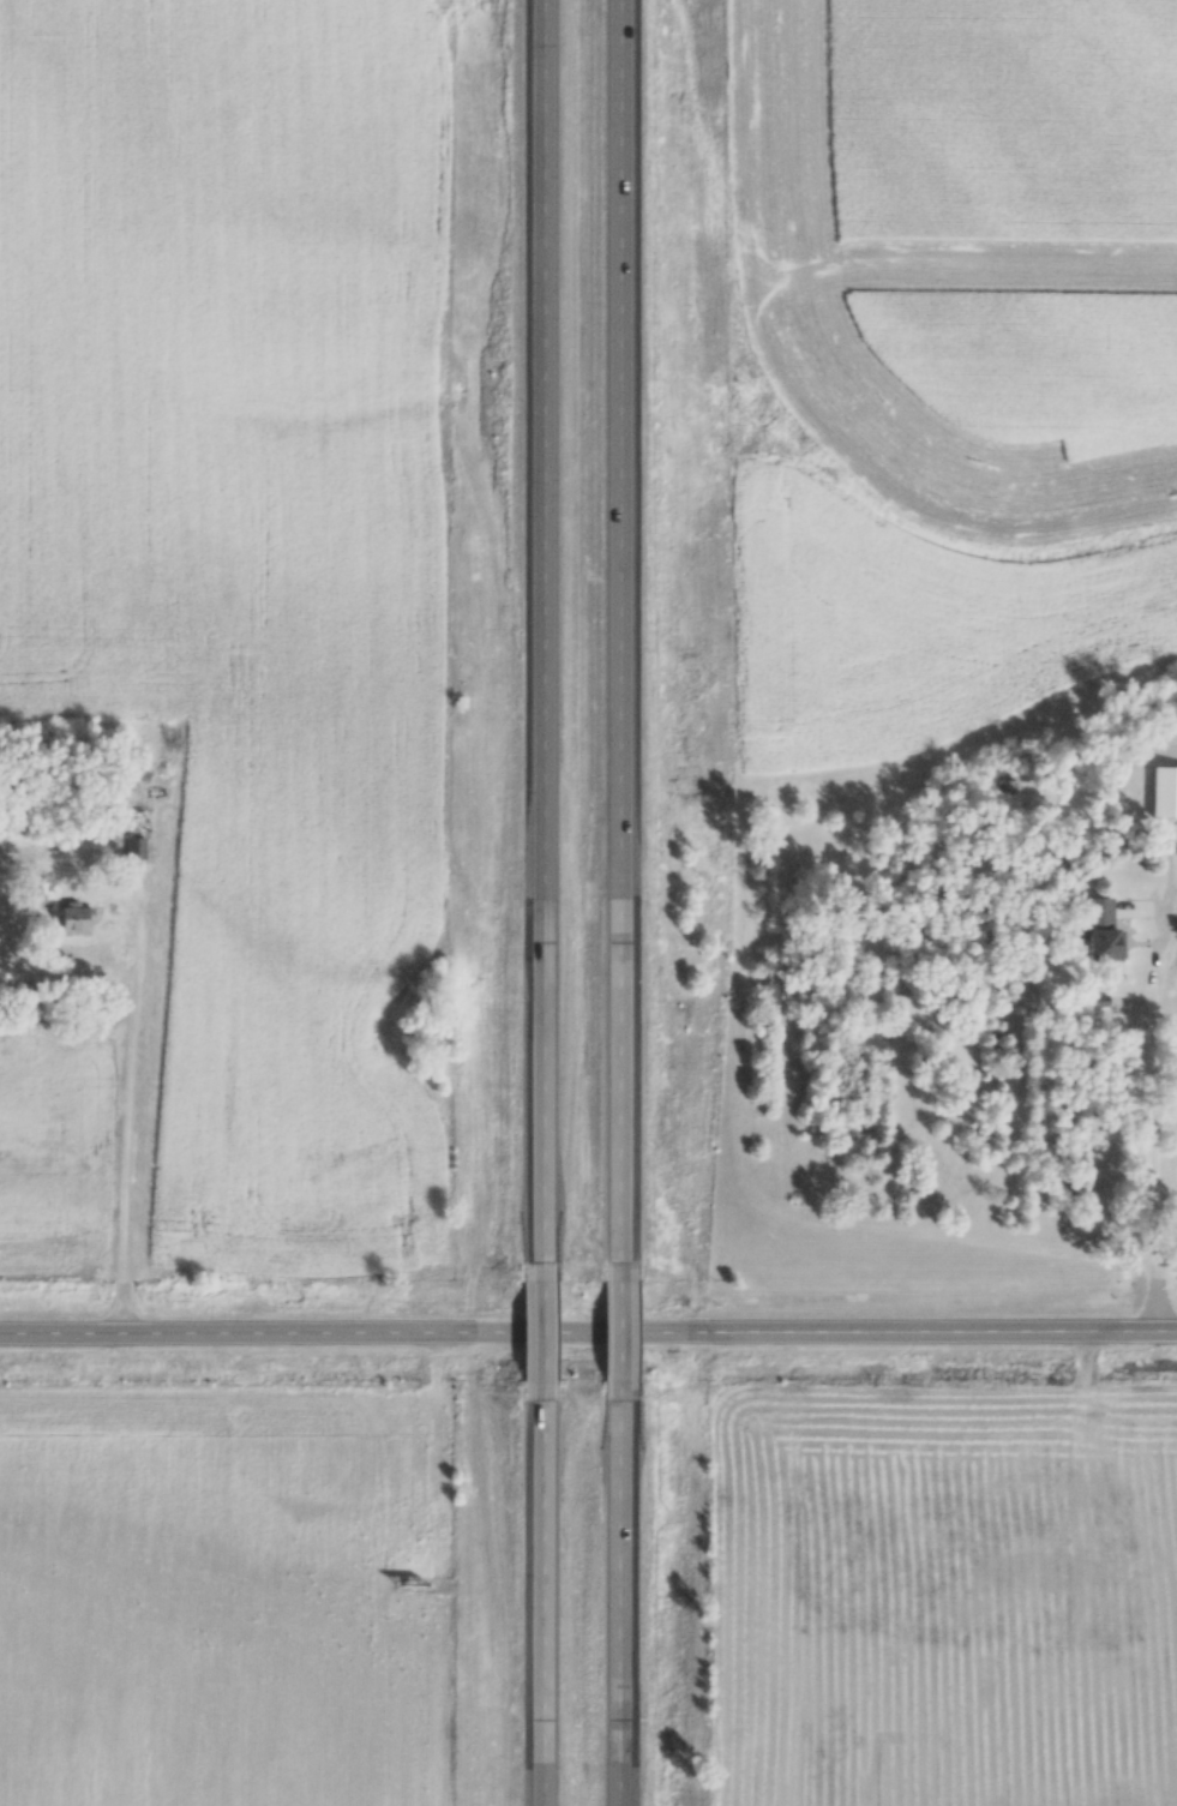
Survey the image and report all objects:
road: (618, 626)
road: (539, 628)
building: (1161, 791)
building: (131, 833)
building: (68, 918)
building: (1094, 928)
road: (1148, 1104)
road: (127, 1112)
road: (588, 1324)
road: (619, 1326)
road: (539, 1327)
road: (538, 1602)
road: (619, 1603)

